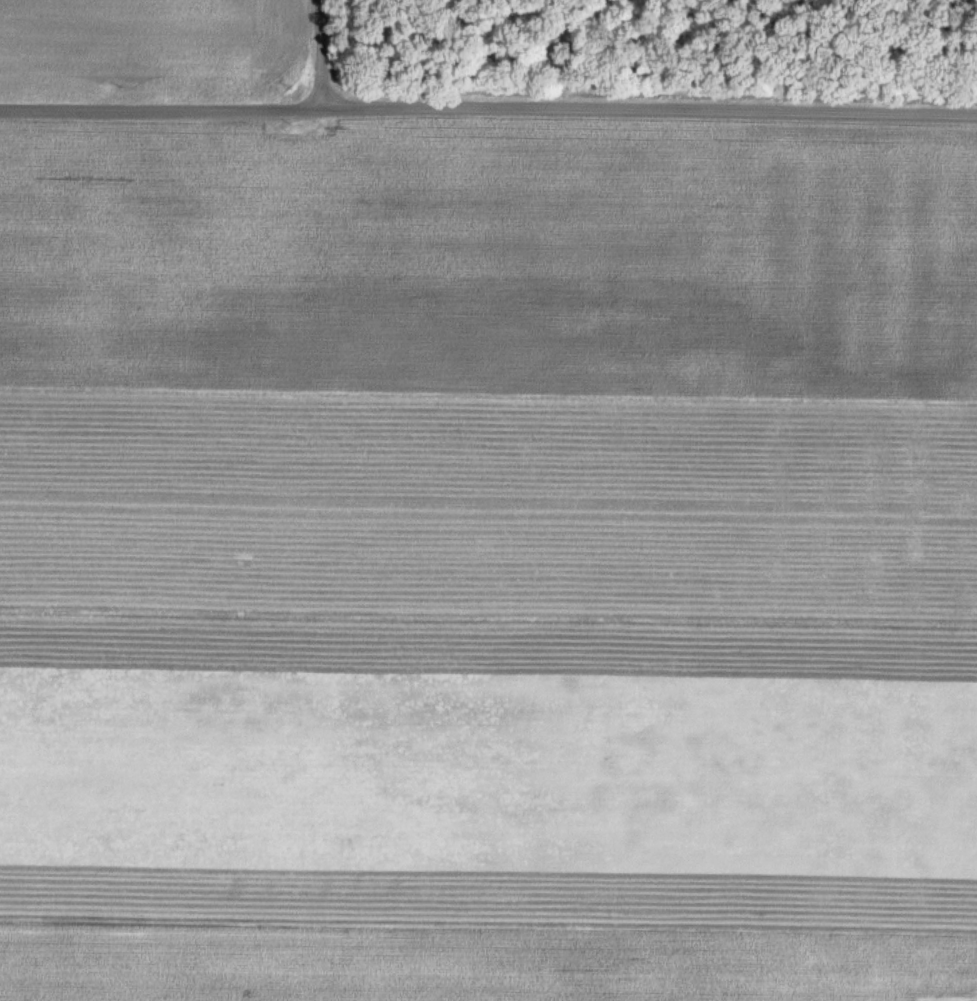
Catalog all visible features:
road: (317, 54)
road: (488, 107)

